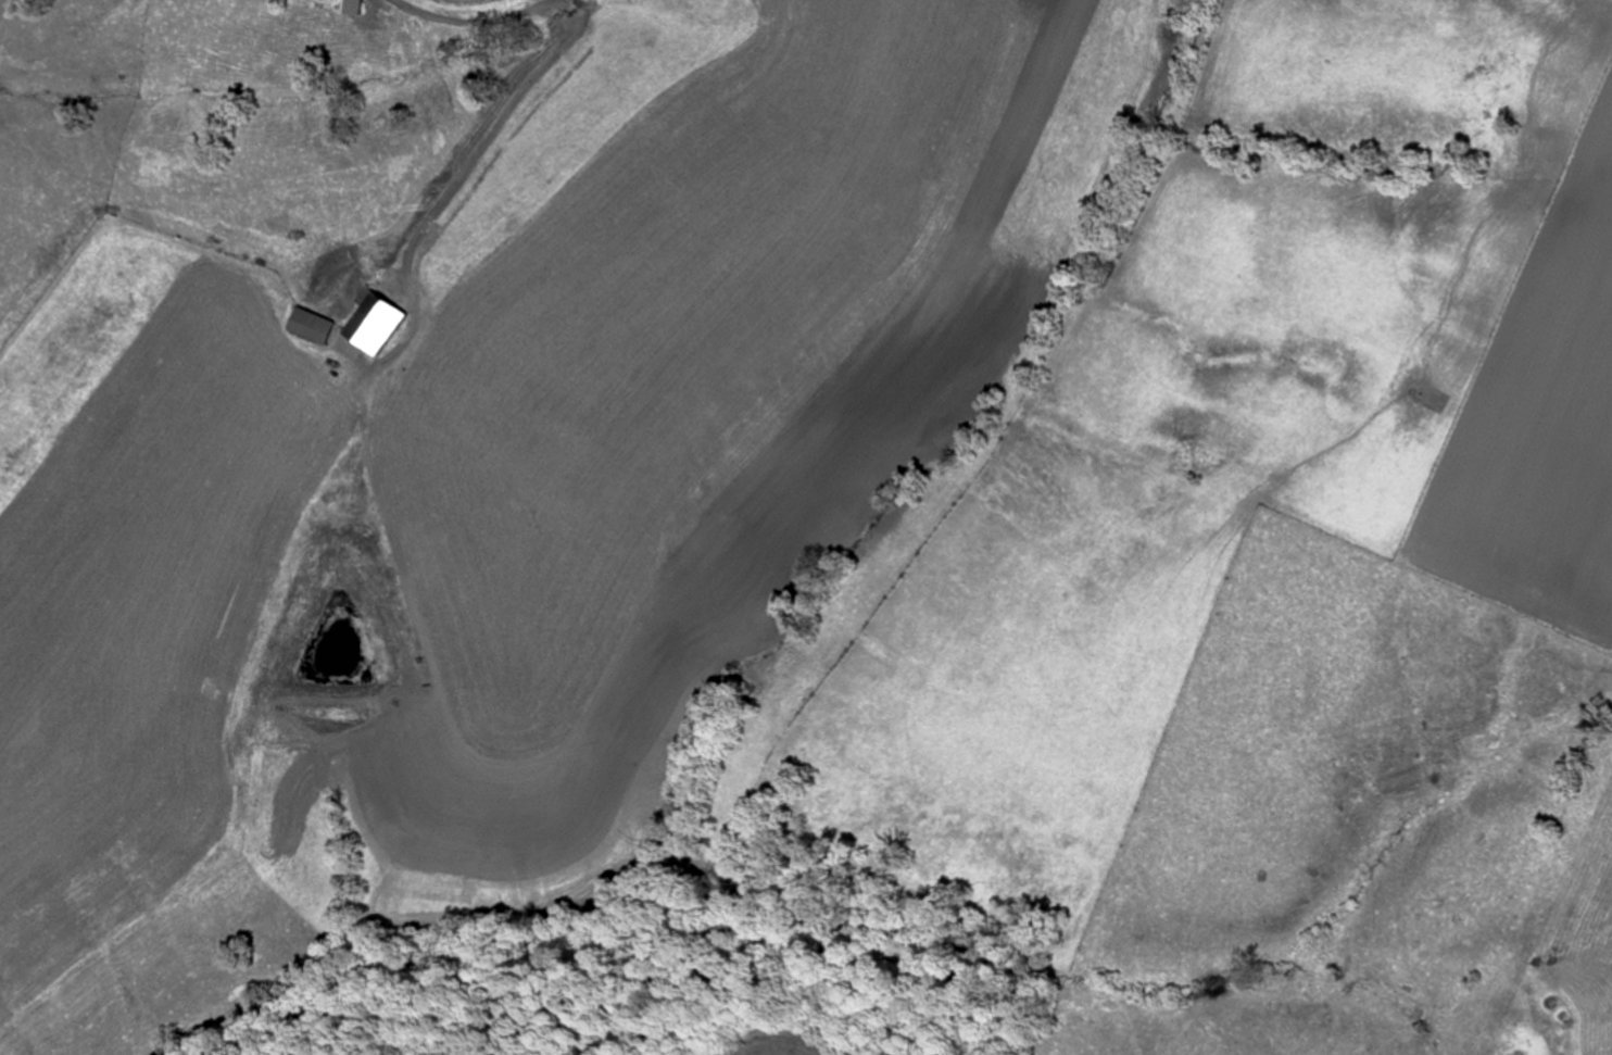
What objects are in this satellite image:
building: (333, 4)
building: (385, 318)
building: (320, 326)

